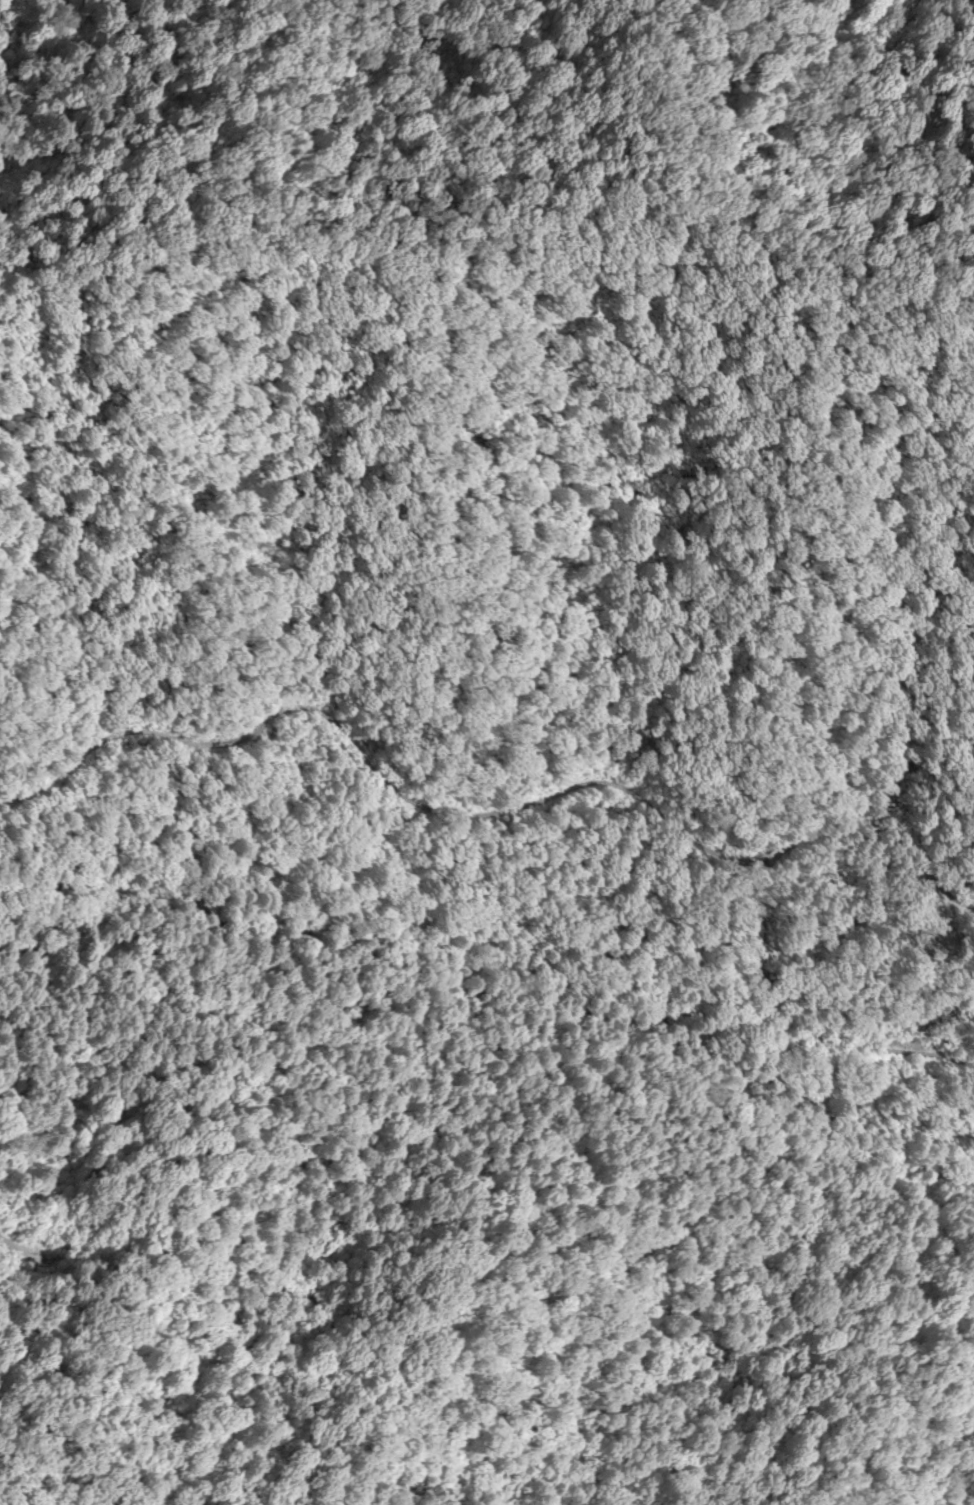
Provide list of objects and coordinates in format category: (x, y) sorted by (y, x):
road: (794, 1115)

